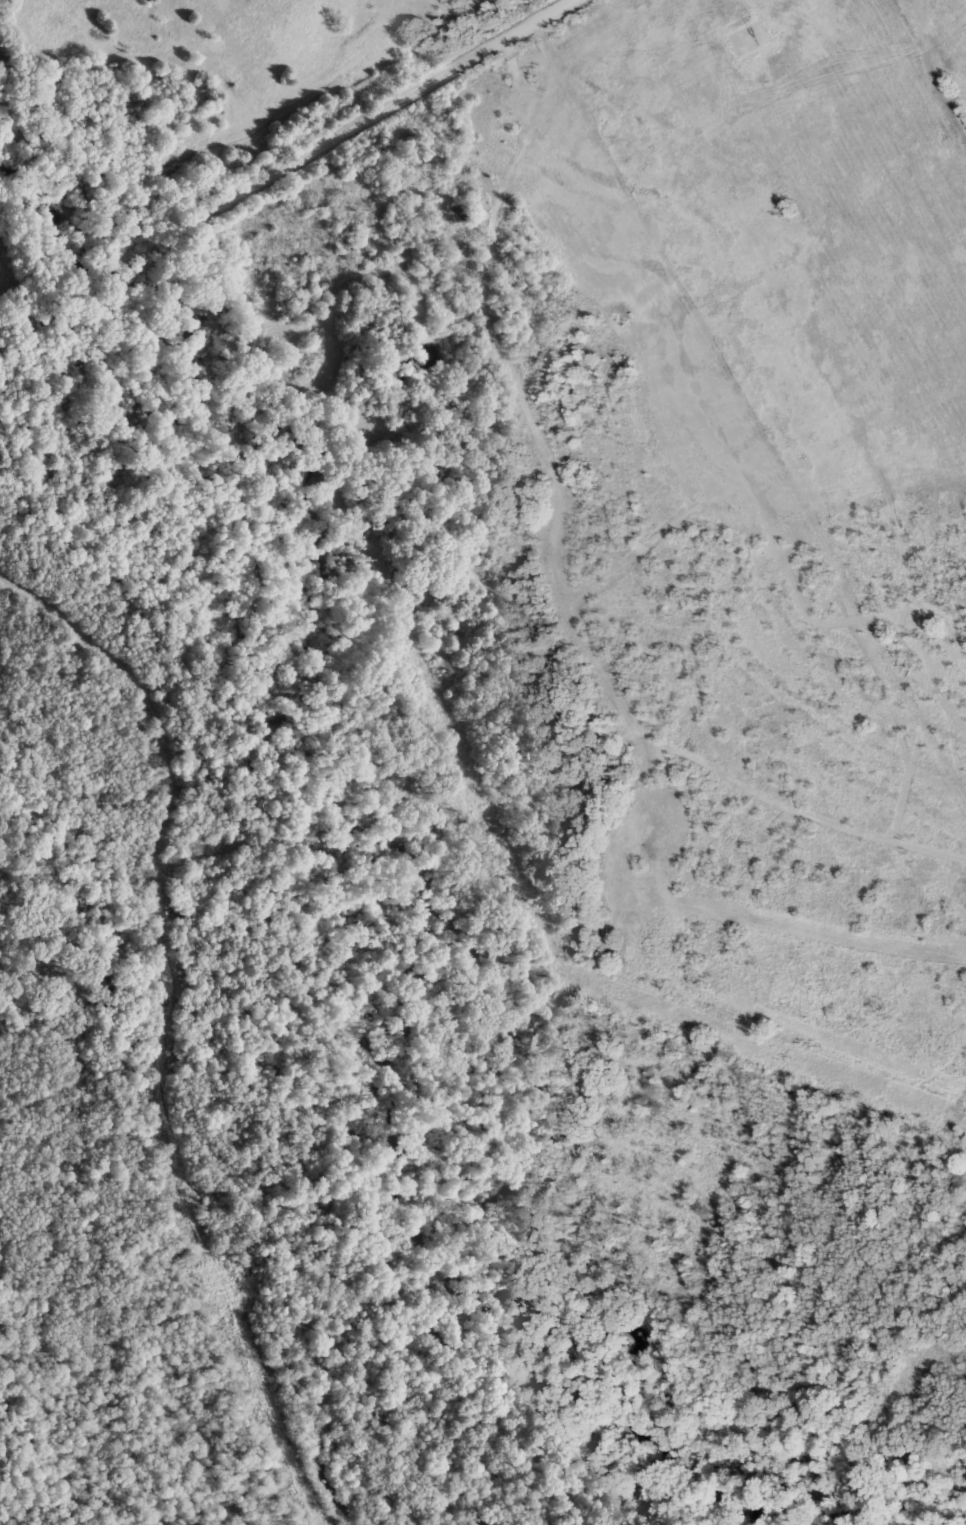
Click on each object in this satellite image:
road: (933, 53)
road: (285, 165)
road: (566, 253)

